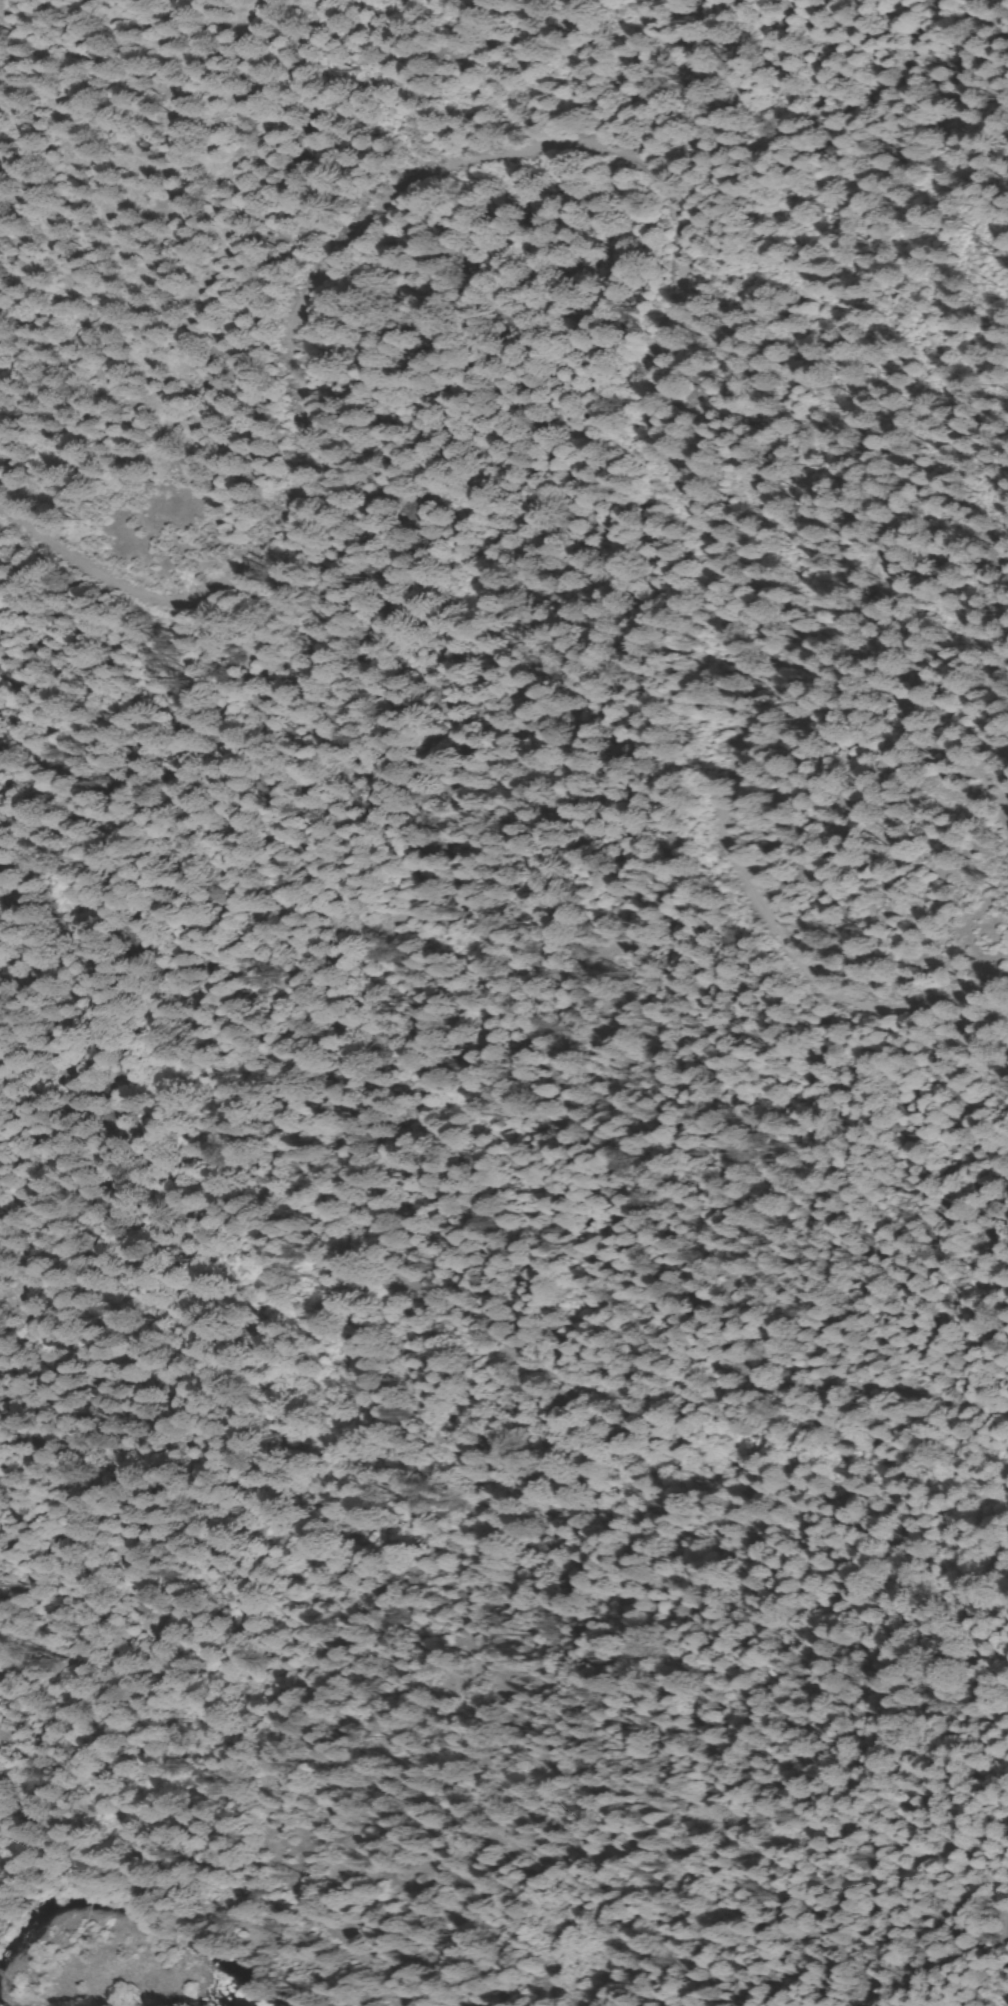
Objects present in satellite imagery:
river: (126, 1938)

